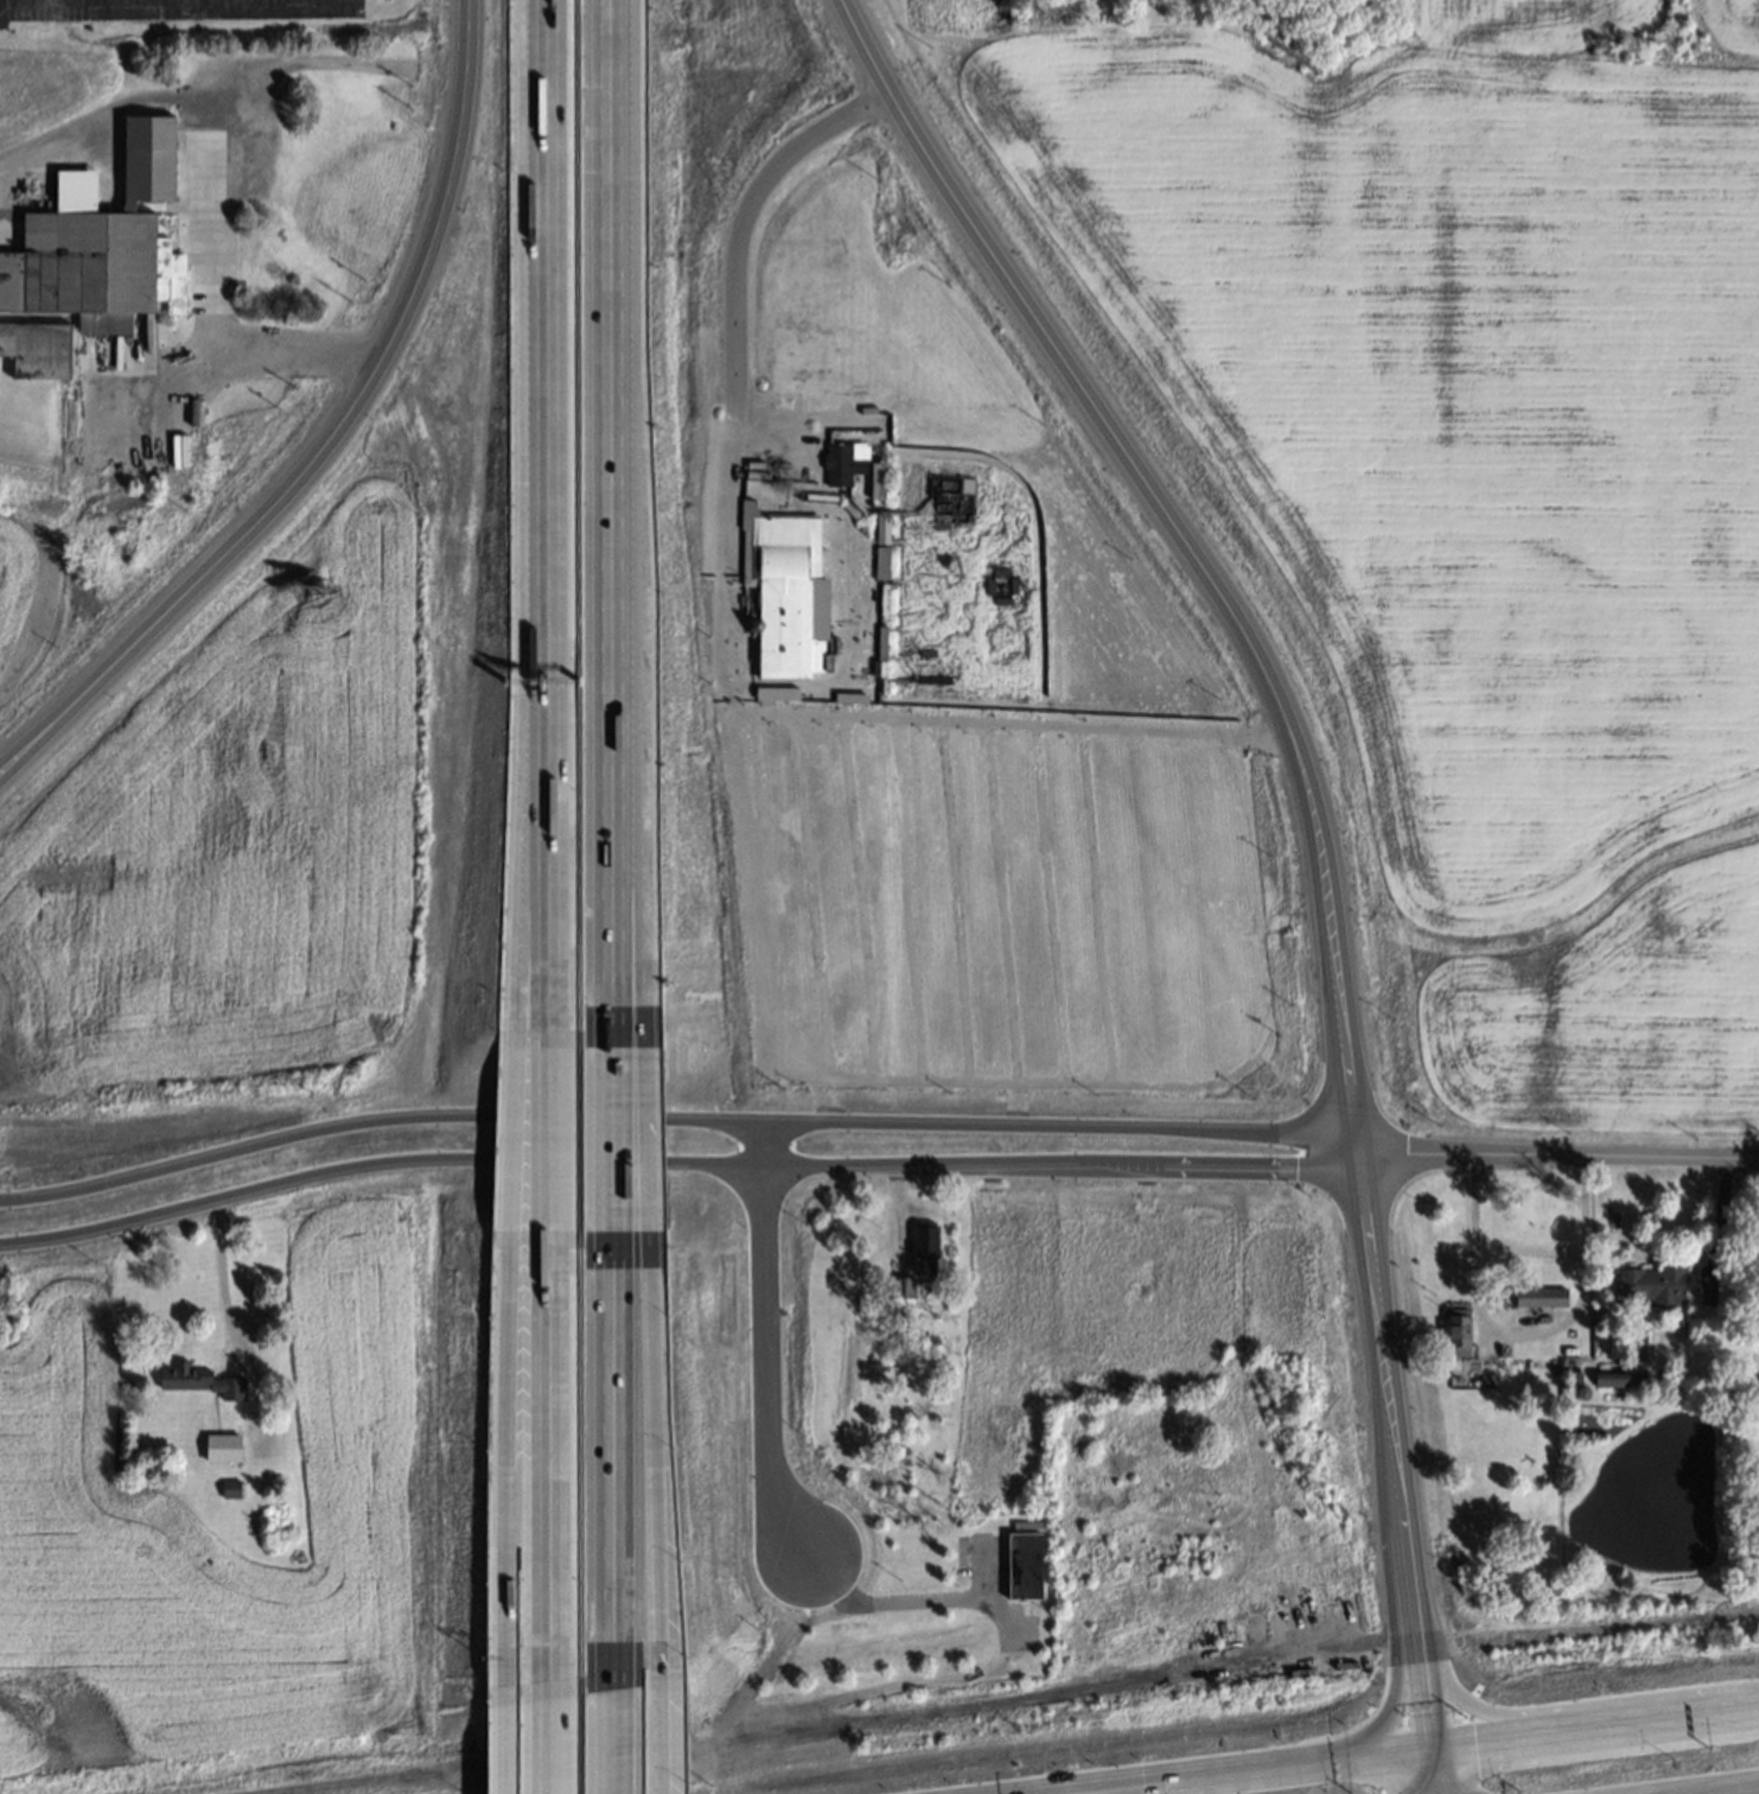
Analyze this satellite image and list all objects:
airport taxiway: (5, 0)
road: (83, 8)
airport apron: (243, 8)
parking lot: (69, 11)
airport apron: (5, 12)
airport: (232, 15)
road: (225, 172)
building: (91, 262)
road: (619, 376)
road: (327, 438)
building: (842, 464)
crop: (1474, 478)
building: (879, 479)
road: (543, 522)
building: (884, 526)
road: (735, 536)
road: (1192, 539)
parking lot: (739, 542)
building: (882, 561)
building: (788, 598)
road: (624, 898)
parking lot: (1016, 901)
road: (676, 1117)
road: (626, 1141)
road: (543, 1146)
road: (1560, 1154)
road: (677, 1158)
building: (926, 1248)
road: (222, 1280)
building: (1653, 1284)
building: (905, 1286)
road: (1377, 1296)
building: (1542, 1297)
building: (1460, 1332)
road: (1523, 1332)
road: (767, 1341)
building: (1620, 1376)
building: (202, 1380)
building: (223, 1446)
road: (657, 1453)
road: (619, 1458)
road: (541, 1472)
road: (520, 1474)
building: (232, 1488)
road: (1408, 1556)
building: (1026, 1565)
road: (890, 1601)
road: (1390, 1608)
road: (1583, 1704)
road: (1429, 1706)
road: (1597, 1726)
road: (663, 1732)
road: (610, 1736)
road: (538, 1744)
road: (506, 1747)
traffic signals: (1435, 1747)
road: (1264, 1766)
road: (1438, 1770)
traffic signals: (1094, 1785)
traffic signals: (1056, 1787)
road: (1038, 1788)
road: (1094, 1789)
road: (1727, 1789)
road: (1056, 1790)

